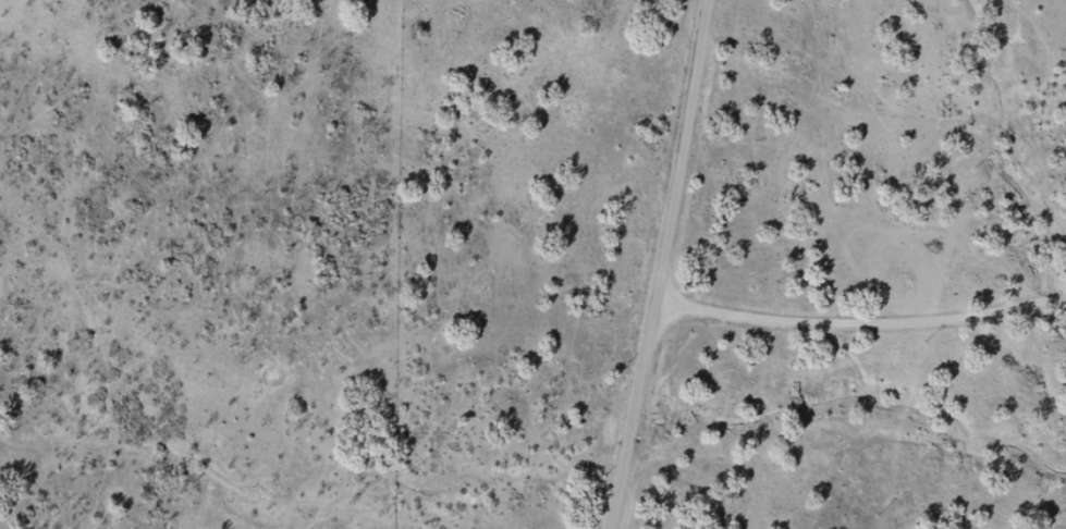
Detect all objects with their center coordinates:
road: (661, 264)

